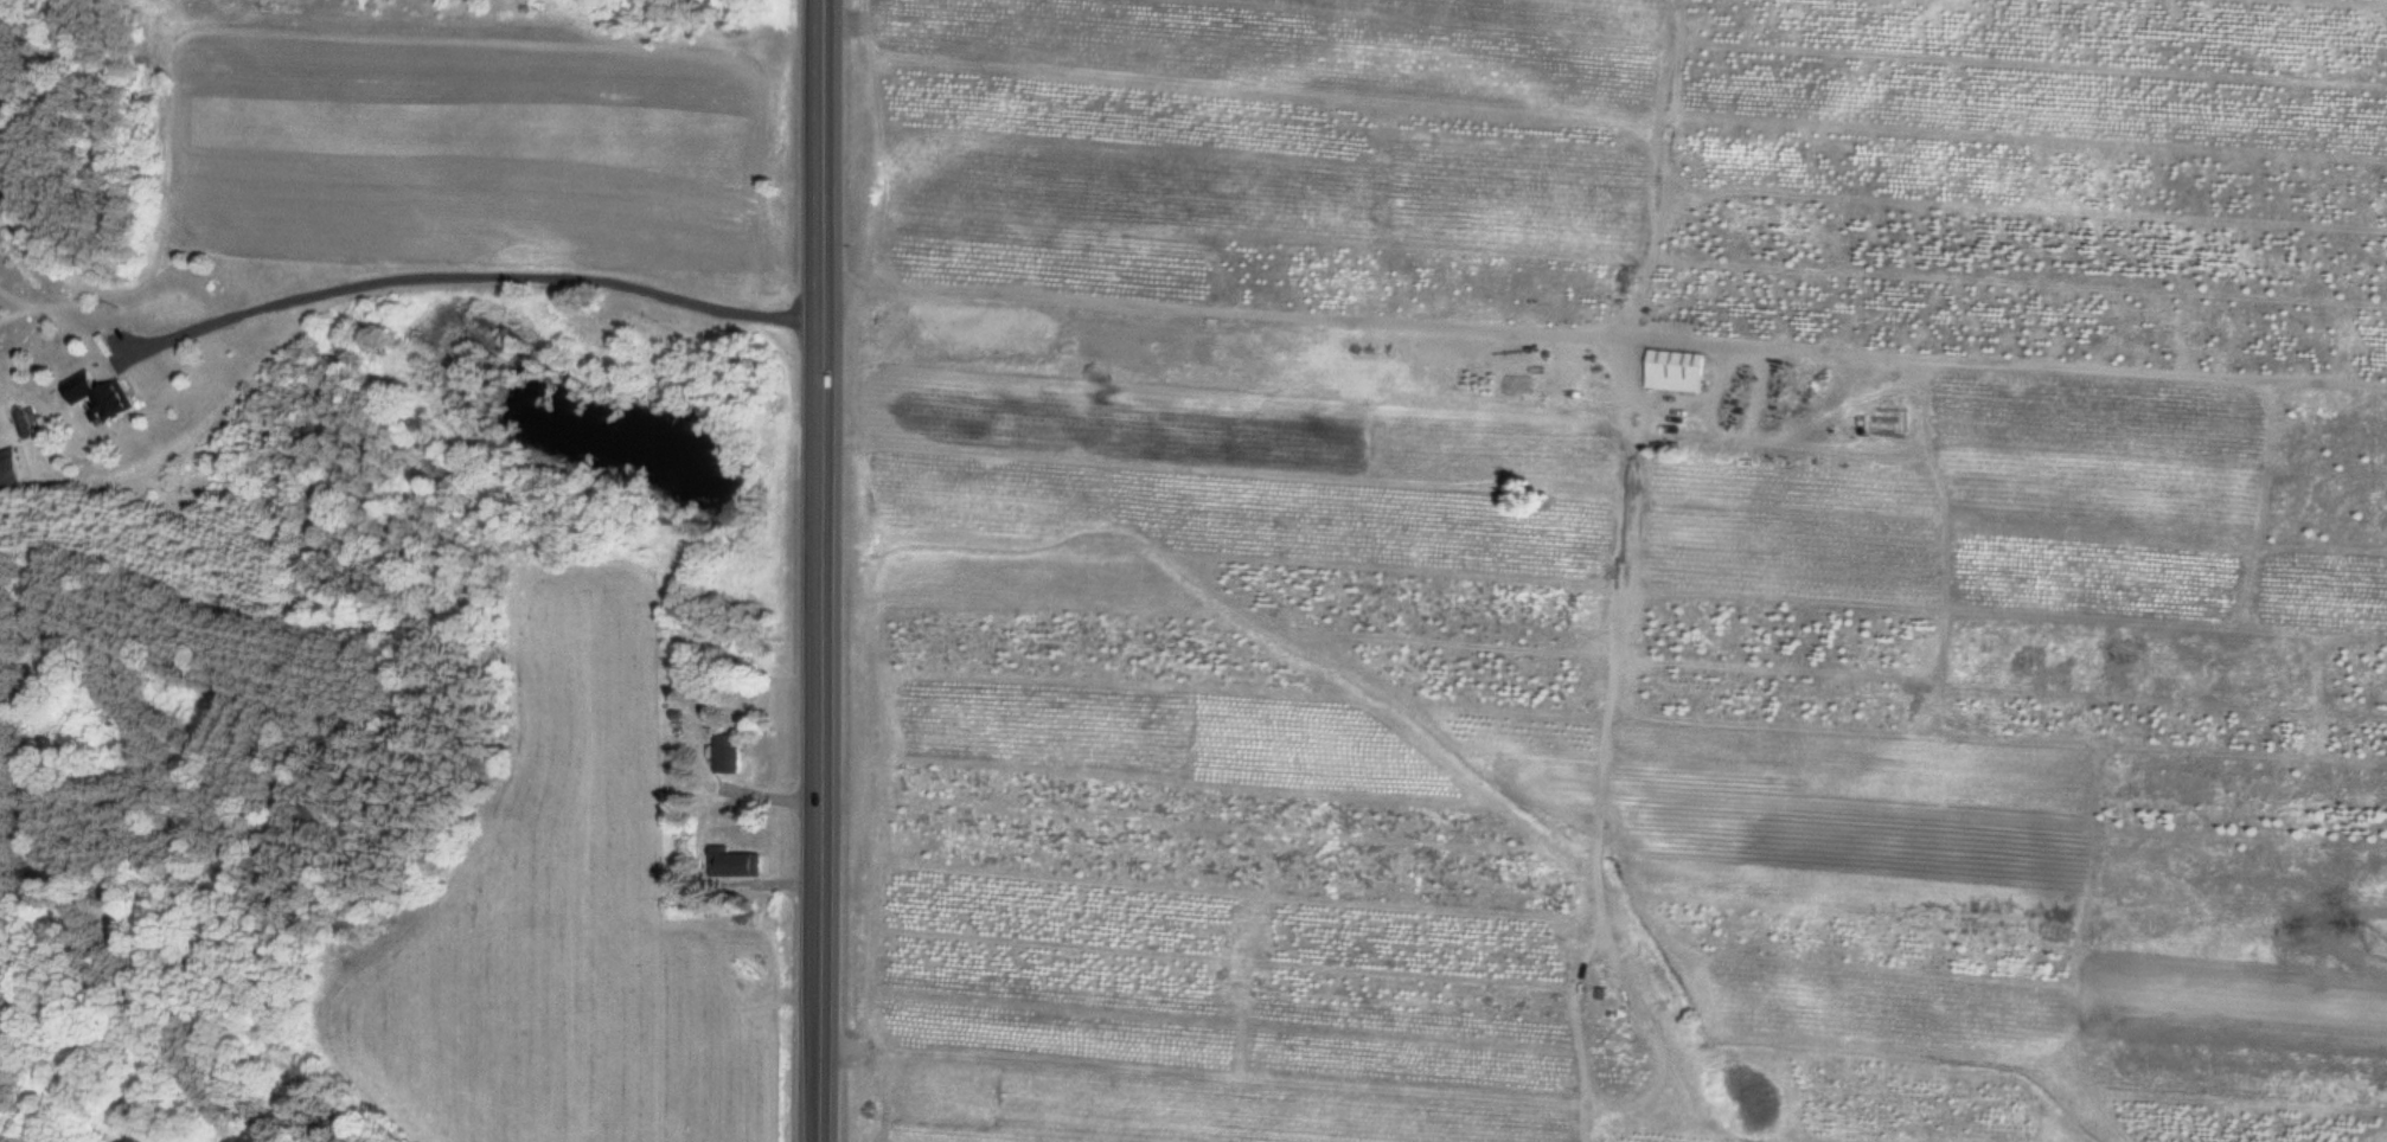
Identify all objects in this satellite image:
building: (806, 192)
building: (1672, 370)
building: (96, 397)
building: (7, 468)
road: (821, 571)
building: (727, 752)
building: (735, 862)

